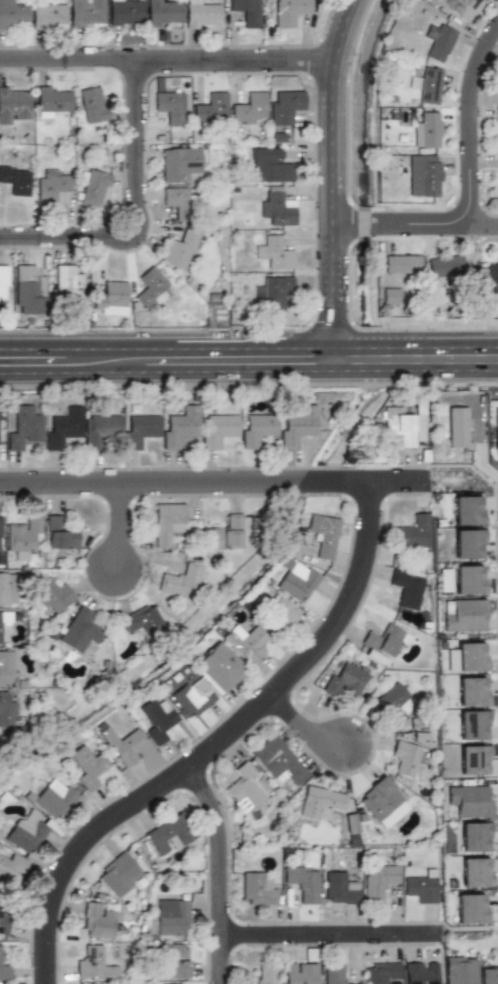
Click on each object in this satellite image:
building: (457, 6)
building: (124, 12)
building: (245, 12)
building: (290, 12)
building: (86, 14)
building: (163, 14)
building: (201, 14)
building: (12, 15)
building: (47, 16)
building: (441, 42)
road: (165, 59)
building: (428, 85)
building: (497, 87)
building: (497, 91)
building: (52, 99)
building: (13, 103)
building: (91, 104)
building: (284, 106)
building: (169, 107)
building: (210, 107)
building: (248, 107)
building: (427, 130)
building: (497, 130)
building: (275, 136)
road: (480, 139)
building: (179, 163)
building: (268, 165)
building: (424, 175)
building: (15, 180)
road: (328, 182)
building: (53, 186)
building: (93, 187)
building: (175, 199)
building: (277, 206)
road: (135, 213)
road: (404, 231)
road: (489, 233)
building: (179, 249)
building: (275, 252)
building: (401, 263)
building: (445, 265)
building: (491, 280)
building: (68, 283)
building: (4, 284)
building: (30, 284)
building: (150, 287)
building: (275, 292)
building: (390, 295)
building: (111, 297)
road: (249, 348)
road: (248, 370)
building: (298, 425)
building: (400, 425)
building: (62, 427)
building: (179, 427)
building: (456, 427)
building: (495, 427)
building: (23, 428)
building: (257, 428)
building: (100, 429)
building: (139, 429)
building: (218, 429)
road: (219, 491)
building: (466, 510)
building: (167, 524)
building: (228, 532)
building: (412, 533)
building: (0, 534)
building: (59, 534)
road: (126, 534)
building: (23, 535)
building: (323, 535)
building: (466, 543)
building: (468, 579)
building: (182, 581)
building: (297, 581)
building: (8, 587)
building: (406, 588)
building: (53, 595)
building: (280, 614)
building: (463, 615)
building: (144, 621)
building: (1, 631)
building: (80, 631)
building: (244, 642)
building: (382, 642)
building: (469, 657)
building: (6, 667)
building: (219, 668)
building: (344, 680)
building: (470, 691)
building: (191, 699)
building: (393, 702)
building: (7, 711)
building: (157, 719)
building: (471, 725)
road: (310, 734)
building: (124, 745)
road: (227, 748)
building: (404, 757)
building: (472, 759)
building: (278, 761)
building: (88, 766)
building: (244, 788)
building: (55, 798)
building: (320, 801)
building: (382, 801)
building: (468, 801)
building: (27, 832)
building: (169, 834)
building: (473, 836)
building: (10, 867)
building: (475, 872)
building: (119, 873)
road: (227, 875)
building: (378, 881)
building: (302, 883)
building: (339, 888)
building: (420, 888)
building: (257, 889)
building: (469, 908)
building: (172, 917)
building: (4, 919)
building: (98, 920)
road: (338, 940)
building: (174, 961)
building: (94, 963)
building: (459, 970)
building: (5, 972)
building: (264, 973)
building: (299, 973)
building: (333, 973)
building: (382, 973)
building: (420, 973)
building: (488, 976)
building: (355, 983)

